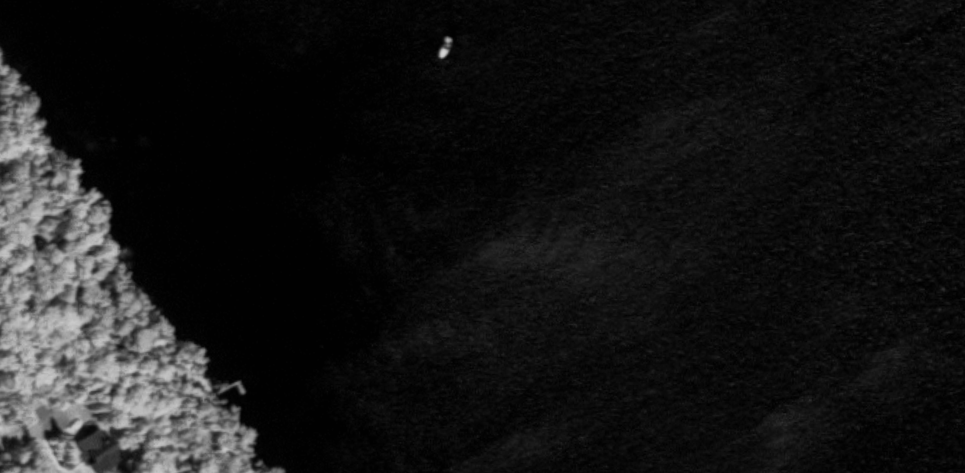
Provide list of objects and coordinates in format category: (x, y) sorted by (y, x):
building: (98, 448)

